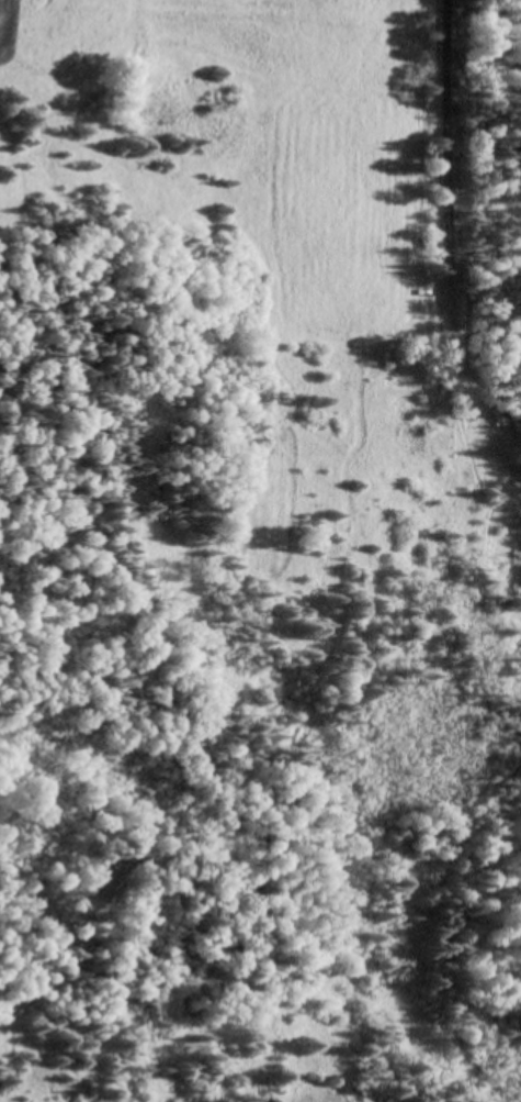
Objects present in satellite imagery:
road: (457, 123)
building: (496, 414)

